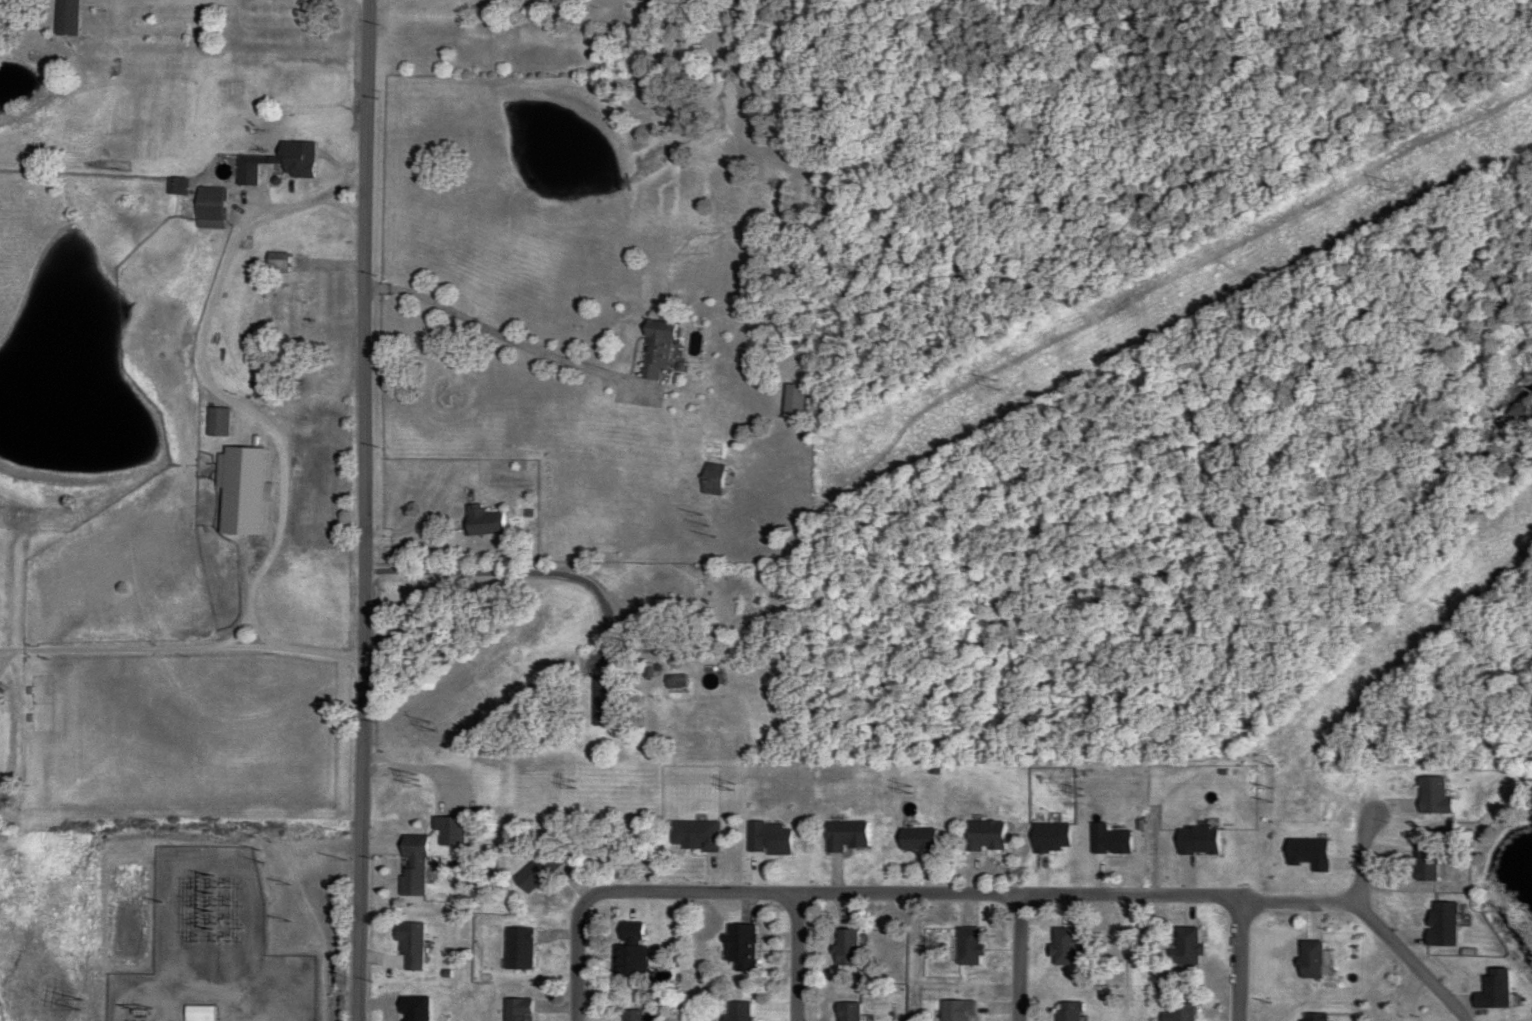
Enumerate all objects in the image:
building: (64, 17)
building: (278, 163)
building: (207, 209)
building: (275, 264)
building: (309, 292)
road: (501, 336)
building: (653, 351)
building: (791, 403)
building: (215, 423)
building: (709, 481)
road: (364, 510)
road: (231, 520)
building: (482, 522)
road: (425, 535)
road: (253, 560)
road: (516, 570)
road: (135, 649)
building: (673, 682)
building: (601, 702)
power tower: (1080, 792)
building: (441, 825)
building: (693, 835)
building: (845, 836)
building: (984, 836)
building: (767, 839)
building: (916, 839)
building: (1424, 861)
building: (411, 865)
building: (537, 870)
road: (620, 890)
road: (749, 890)
road: (1020, 893)
road: (1296, 901)
road: (433, 917)
road: (1376, 926)
building: (628, 931)
power substation: (201, 939)
building: (408, 944)
building: (844, 946)
building: (967, 946)
building: (1061, 946)
building: (739, 947)
building: (1184, 947)
road: (797, 955)
road: (1017, 957)
building: (1309, 959)
building: (628, 960)
road: (1240, 961)
road: (576, 980)
building: (954, 1010)
building: (737, 1011)
building: (845, 1011)
building: (1066, 1011)
building: (1178, 1012)
building: (199, 1013)
building: (631, 1015)

